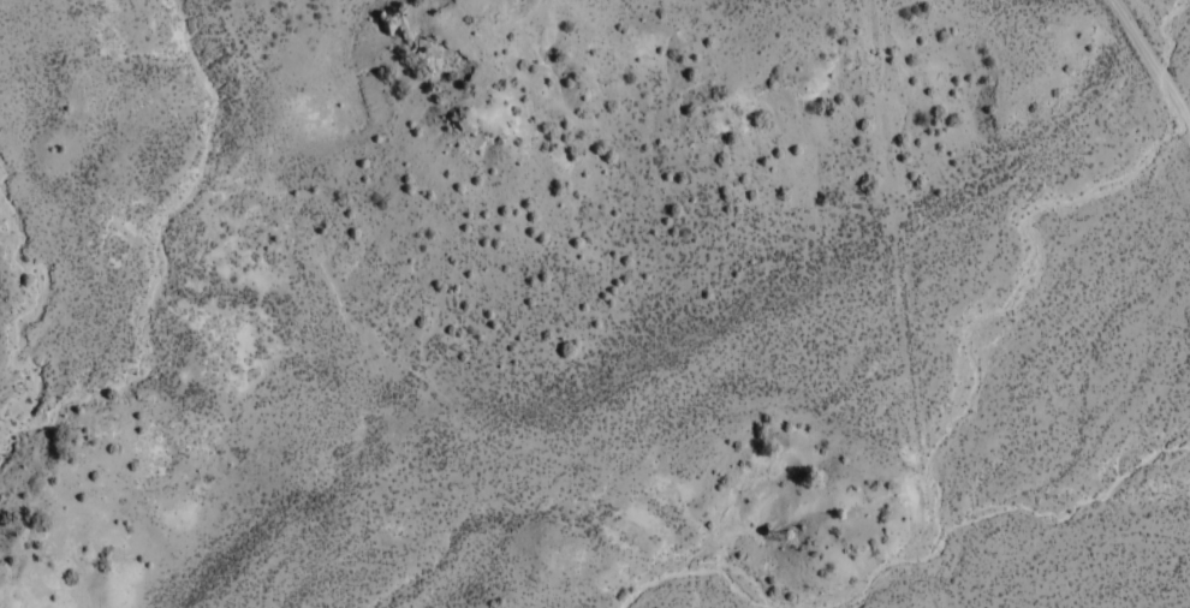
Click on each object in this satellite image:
road: (1100, 81)

